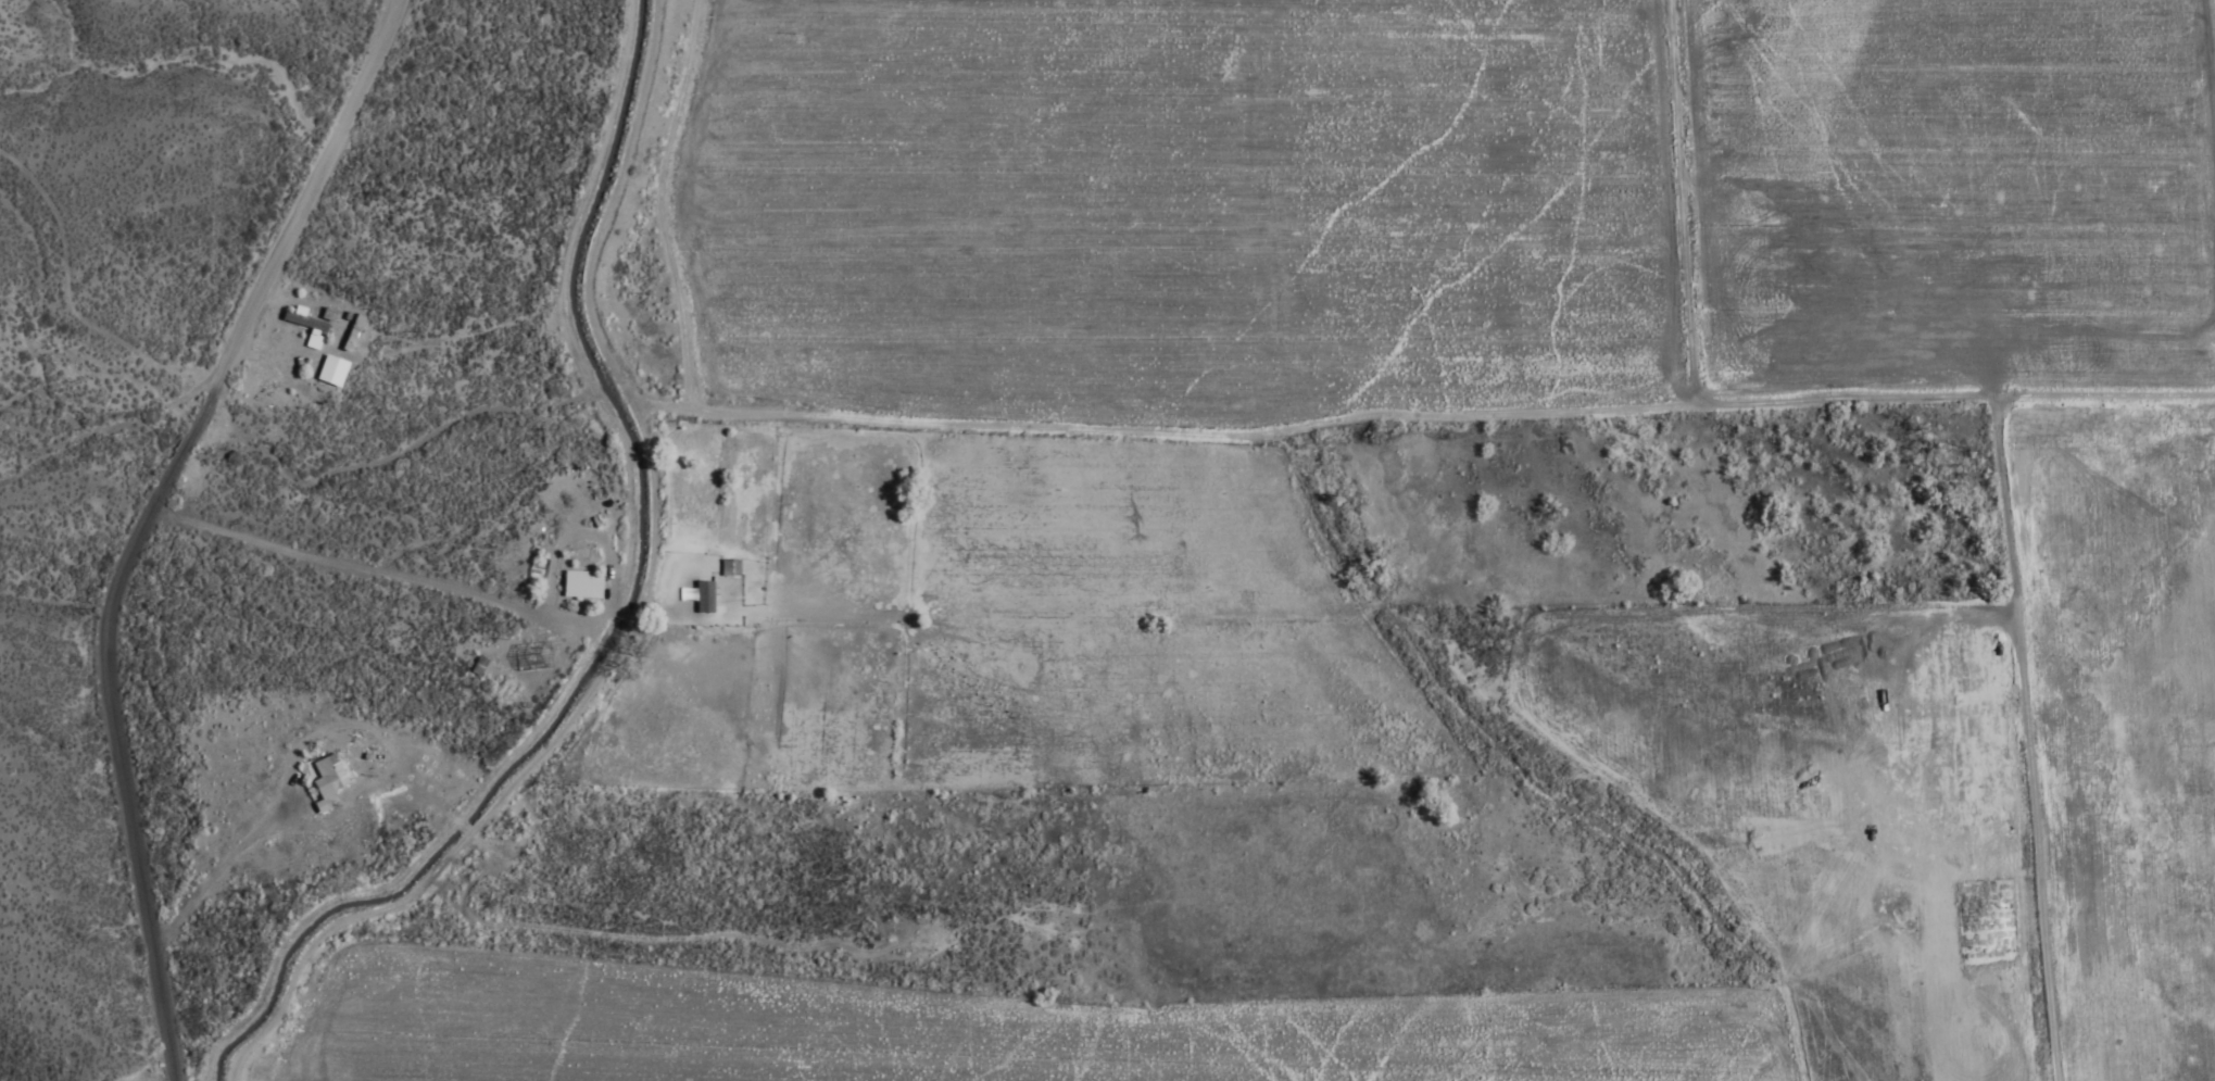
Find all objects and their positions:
road: (2212, 36)
road: (1673, 201)
road: (658, 203)
building: (349, 334)
building: (329, 373)
road: (1419, 411)
road: (137, 517)
road: (328, 565)
building: (580, 587)
building: (702, 599)
road: (605, 616)
road: (628, 617)
building: (474, 669)
building: (327, 774)

